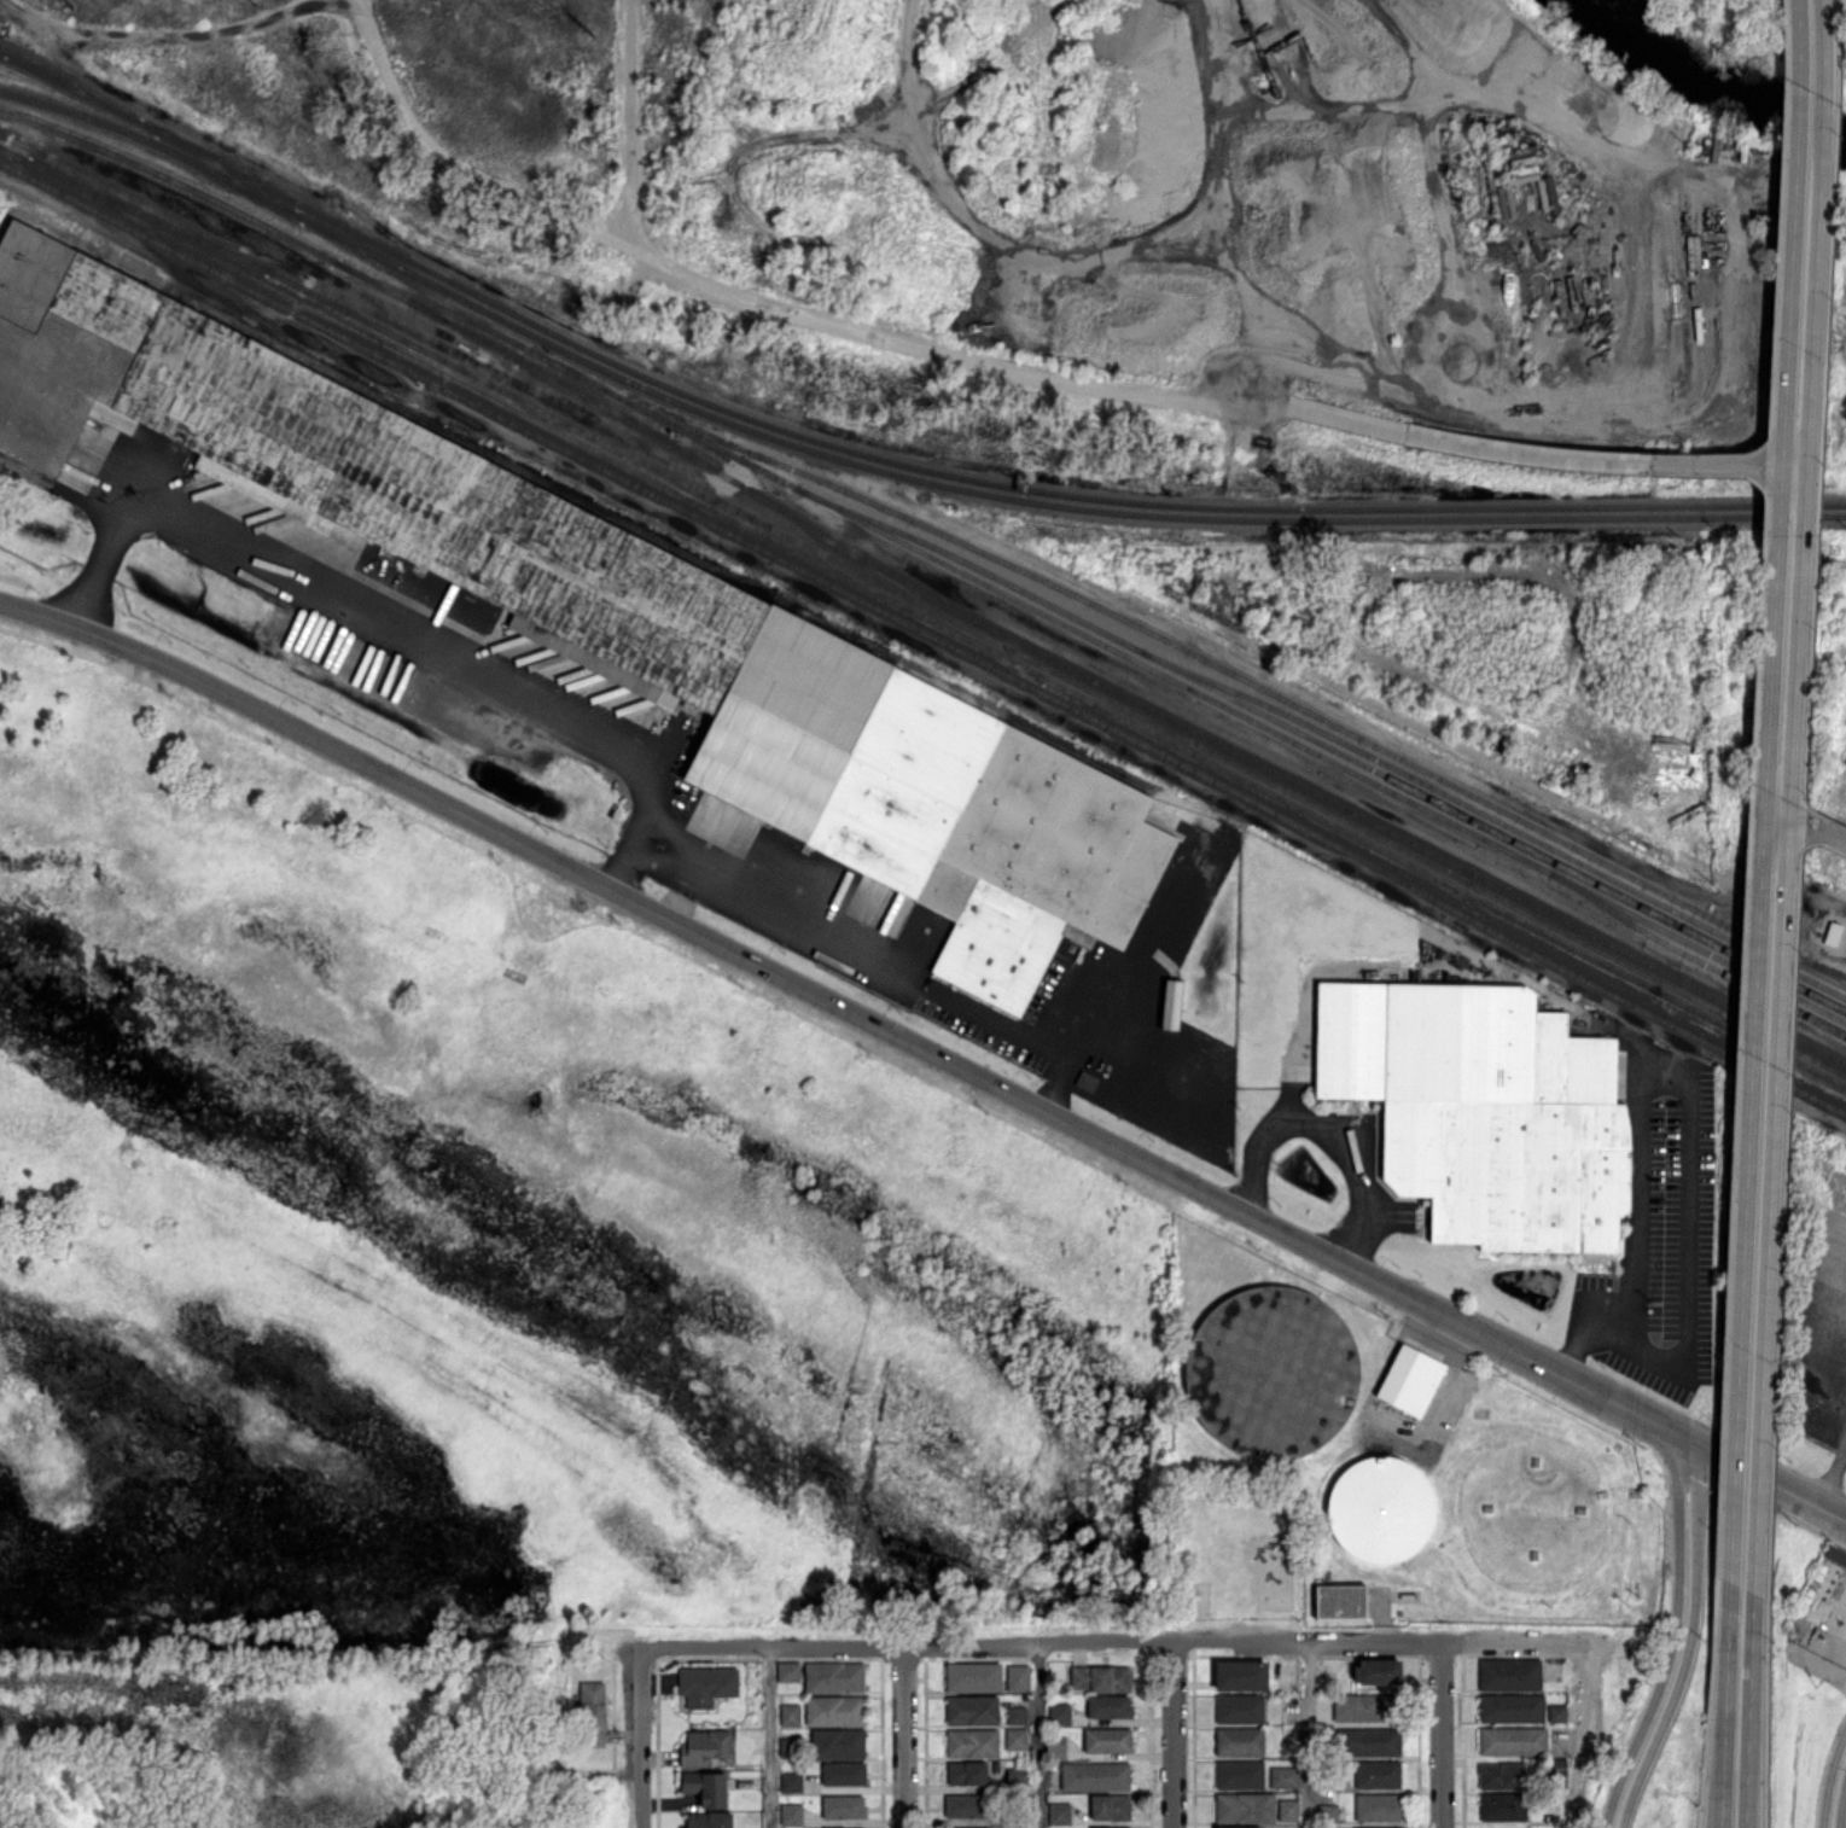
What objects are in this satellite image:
power tower: (258, 8)
power tower: (72, 10)
power tower: (592, 35)
river: (1701, 80)
railway: (69, 81)
railway: (226, 171)
building: (1549, 202)
railway: (147, 216)
railway: (412, 284)
railway: (488, 344)
railway: (396, 363)
railway: (879, 459)
railway: (884, 471)
railway: (922, 605)
road: (366, 616)
railway: (922, 617)
railway: (1093, 640)
building: (710, 663)
railway: (1242, 677)
railway: (1323, 744)
road: (1764, 791)
road: (1786, 796)
railway: (1495, 820)
road: (1805, 822)
railway: (1320, 838)
railway: (1402, 838)
road: (823, 937)
railway: (1695, 957)
railway: (1798, 957)
railway: (1829, 970)
road: (1125, 979)
building: (1170, 1003)
road: (855, 1015)
building: (1484, 1110)
road: (1326, 1133)
road: (1634, 1199)
road: (1684, 1277)
building: (1285, 1335)
road: (1827, 1366)
building: (1409, 1380)
road: (1437, 1402)
road: (1823, 1417)
road: (1829, 1474)
road: (1774, 1485)
building: (1380, 1509)
building: (1835, 1555)
building: (1339, 1601)
road: (1675, 1636)
road: (1688, 1643)
road: (1123, 1644)
road: (1819, 1664)
building: (787, 1670)
building: (1378, 1670)
building: (1509, 1673)
building: (1240, 1675)
building: (834, 1676)
building: (973, 1676)
building: (1018, 1677)
building: (1099, 1677)
building: (706, 1684)
road: (1724, 1705)
building: (1108, 1706)
building: (1239, 1707)
building: (1363, 1707)
building: (1510, 1707)
building: (834, 1710)
building: (971, 1710)
road: (1748, 1711)
building: (1556, 1712)
building: (592, 1713)
building: (790, 1713)
building: (1059, 1713)
building: (1015, 1715)
road: (1442, 1735)
road: (1582, 1735)
road: (1038, 1736)
road: (1172, 1736)
road: (1312, 1736)
road: (640, 1737)
road: (770, 1737)
road: (904, 1737)
building: (1015, 1737)
building: (1107, 1740)
building: (1512, 1740)
building: (1239, 1741)
building: (1370, 1741)
building: (972, 1742)
building: (837, 1743)
building: (1055, 1746)
building: (704, 1747)
building: (786, 1747)
building: (843, 1772)
building: (966, 1772)
building: (1239, 1774)
building: (1376, 1774)
building: (1556, 1774)
building: (1501, 1775)
road: (1828, 1775)
building: (1017, 1776)
building: (1094, 1776)
building: (1283, 1776)
building: (791, 1781)
building: (705, 1787)
road: (1841, 1801)
building: (966, 1805)
building: (1244, 1805)
building: (843, 1806)
building: (1110, 1806)
building: (1376, 1806)
building: (1502, 1806)
building: (1287, 1810)
building: (1059, 1812)
building: (1327, 1812)
building: (791, 1814)
building: (707, 1820)
building: (857, 1827)
building: (973, 1827)
building: (1108, 1827)
building: (1239, 1827)
building: (1375, 1827)

